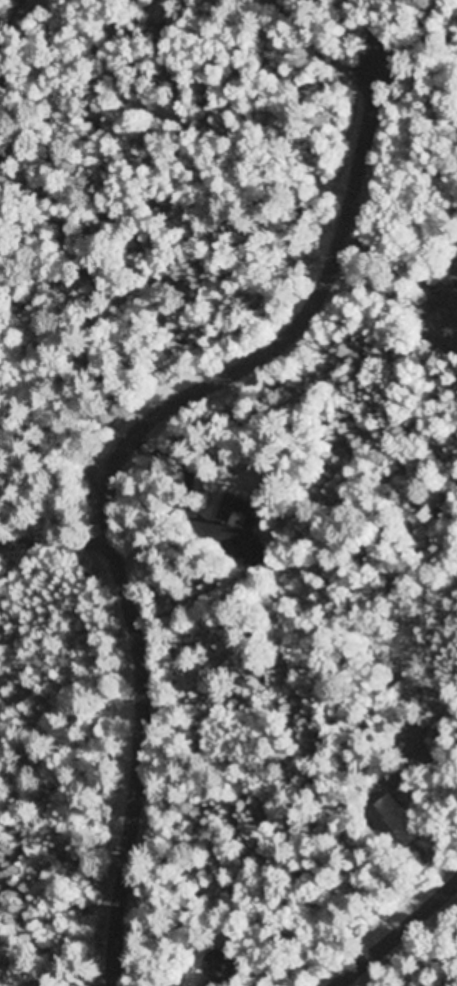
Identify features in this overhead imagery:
road: (42, 72)
road: (56, 404)
road: (115, 440)
road: (62, 546)
road: (392, 932)
building: (226, 963)

